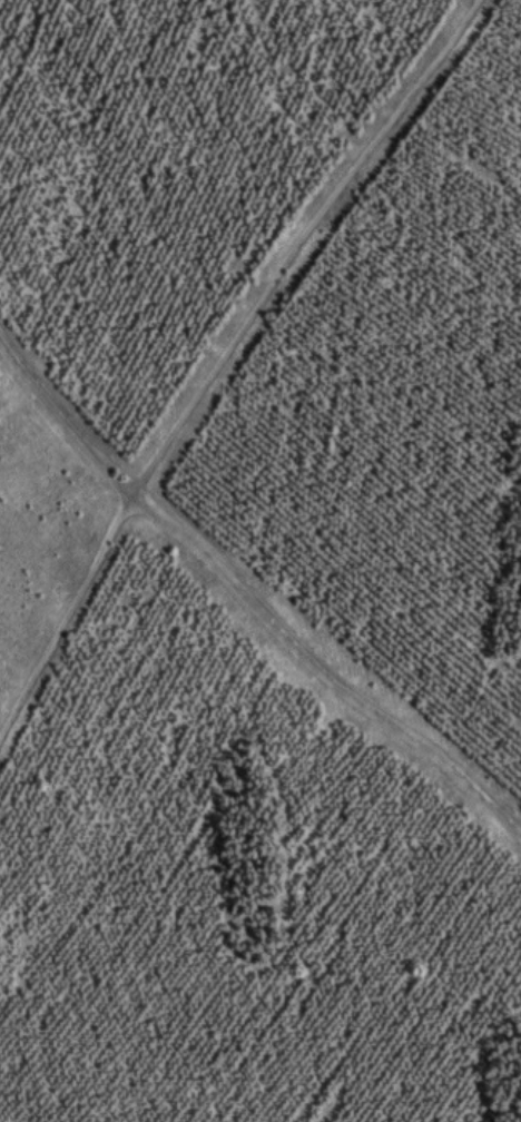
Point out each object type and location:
road: (219, 358)
road: (245, 607)

